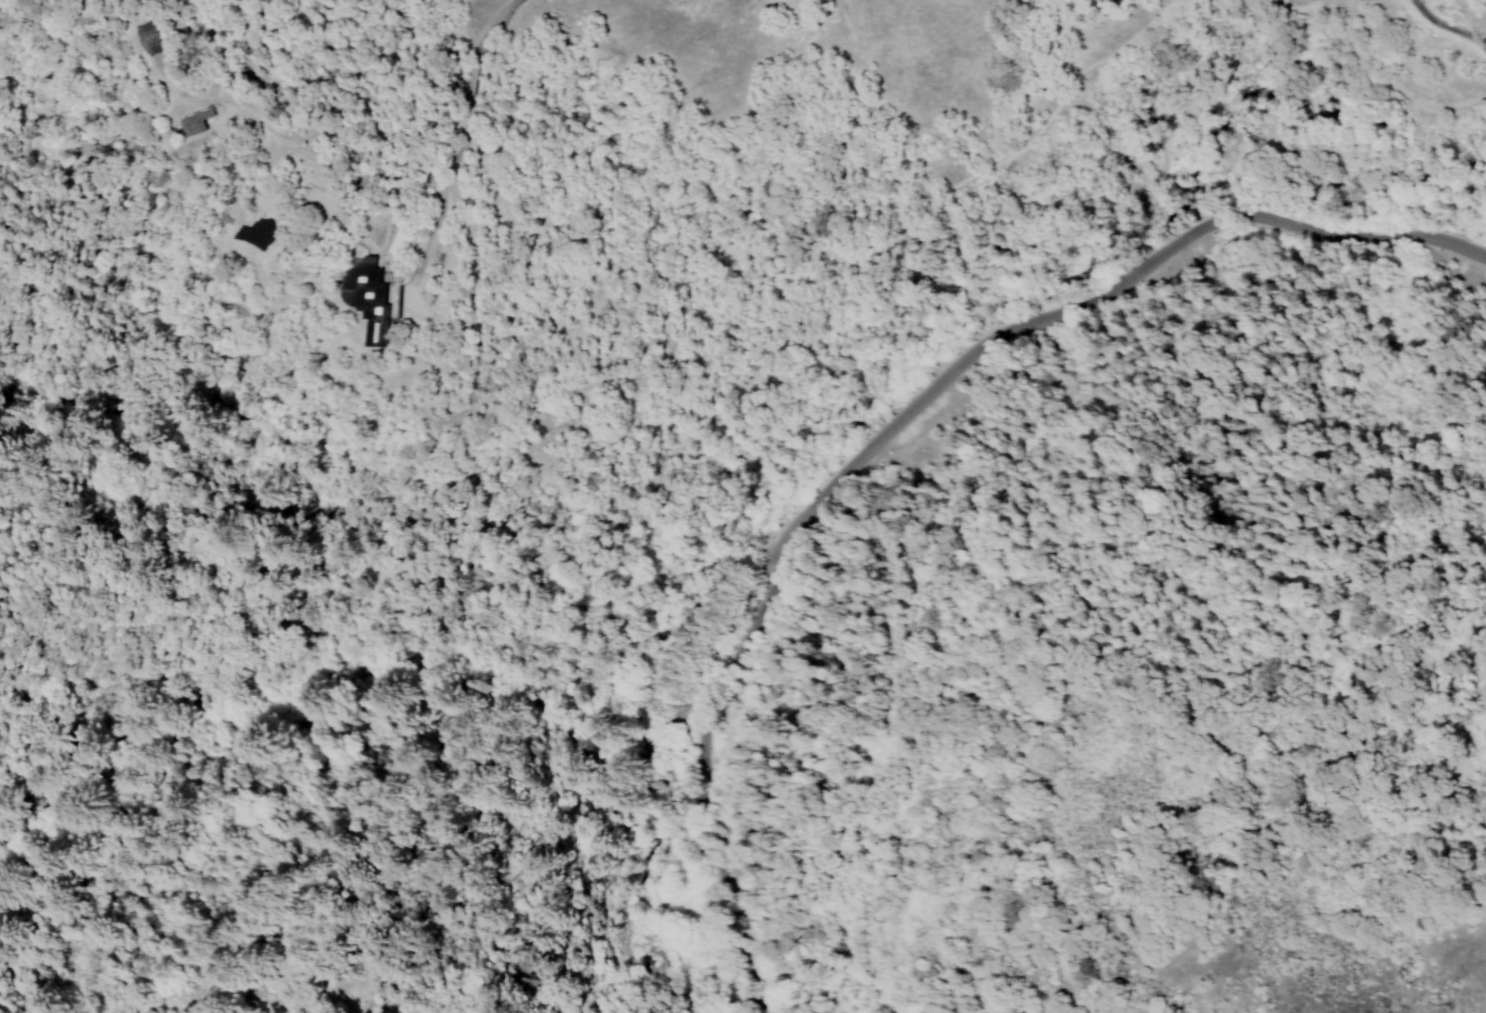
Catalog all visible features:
road: (1444, 25)
solar farm: (151, 38)
road: (1321, 66)
building: (196, 120)
road: (350, 144)
solar farm: (255, 232)
road: (428, 247)
building: (370, 297)
road: (756, 370)
road: (893, 423)
road: (1455, 436)
road: (1105, 538)
road: (218, 555)
road: (511, 658)
road: (570, 705)
road: (585, 730)
road: (683, 737)
road: (667, 741)
road: (649, 744)
road: (614, 748)
road: (549, 751)
road: (665, 880)

